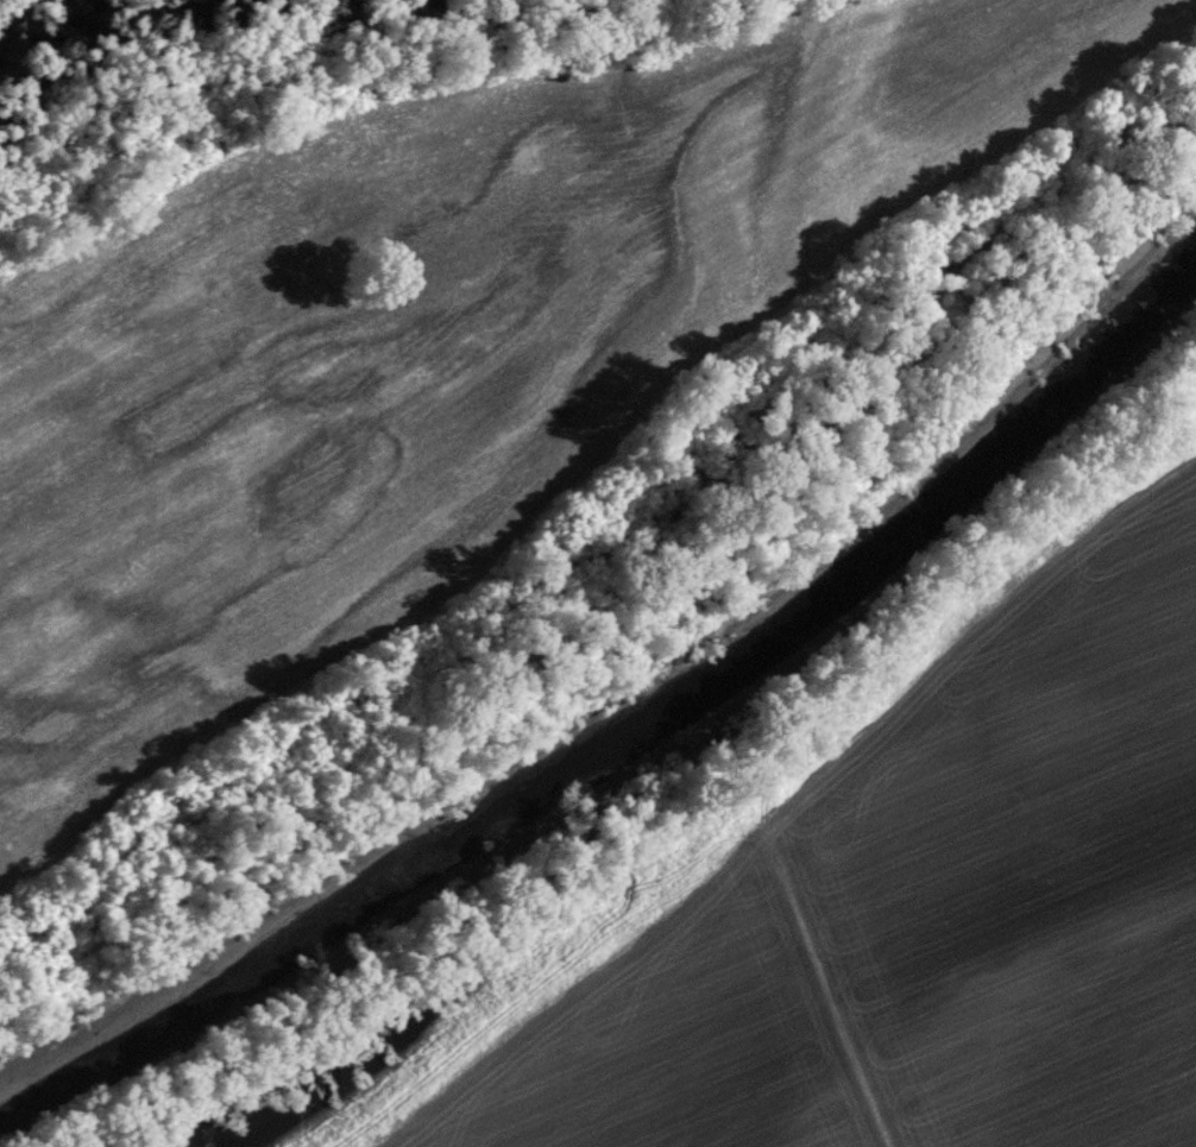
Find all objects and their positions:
road: (820, 1004)

